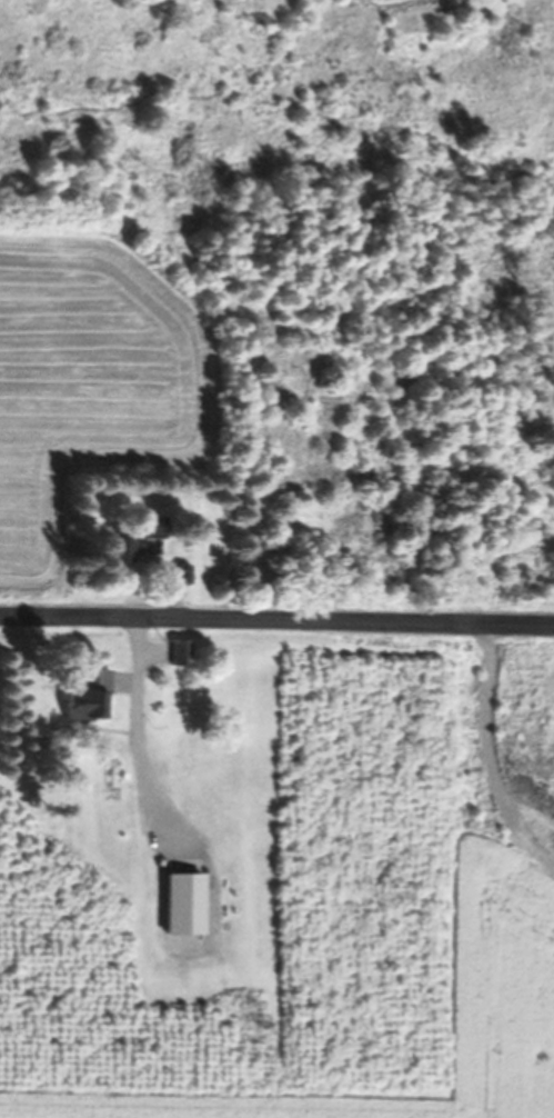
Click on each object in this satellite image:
building: (181, 575)
road: (276, 618)
building: (180, 651)
building: (90, 696)
building: (193, 702)
building: (183, 904)

